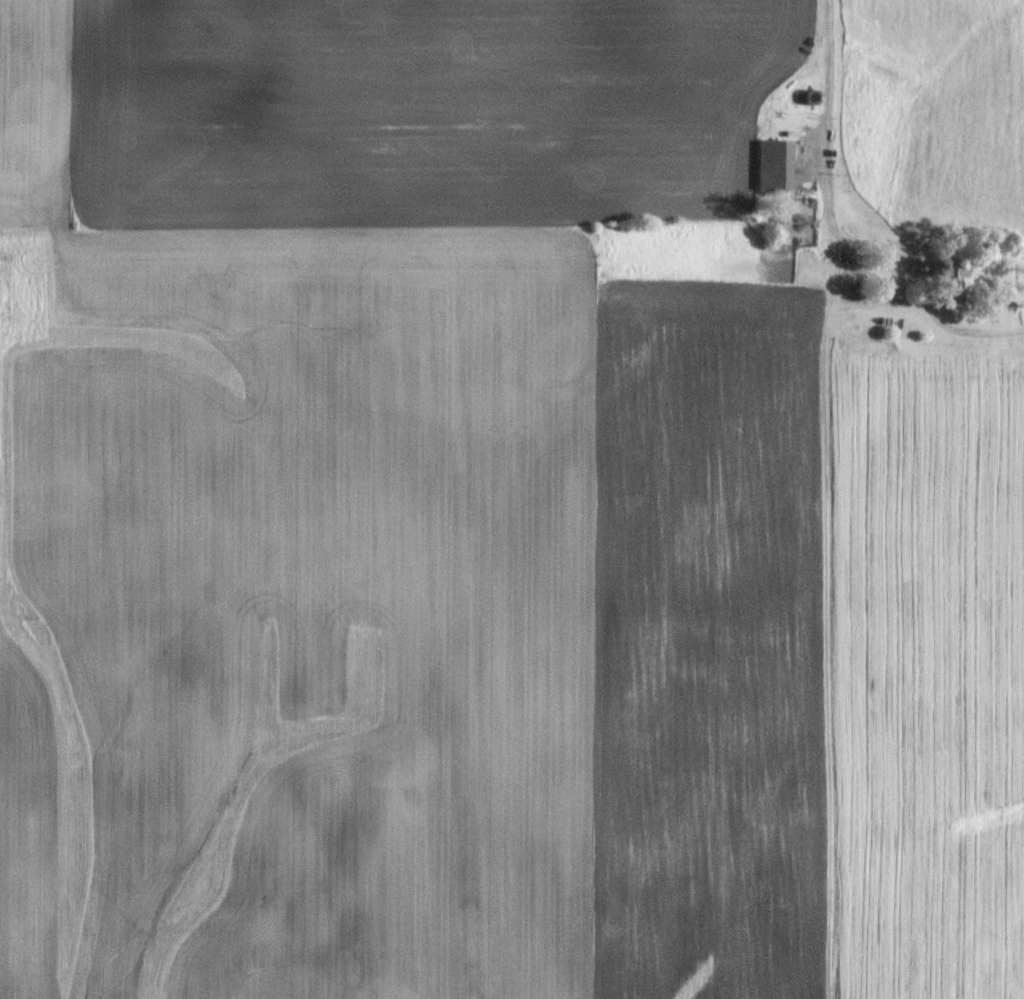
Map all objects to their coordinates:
road: (831, 118)
building: (774, 163)
building: (781, 221)
road: (918, 264)

